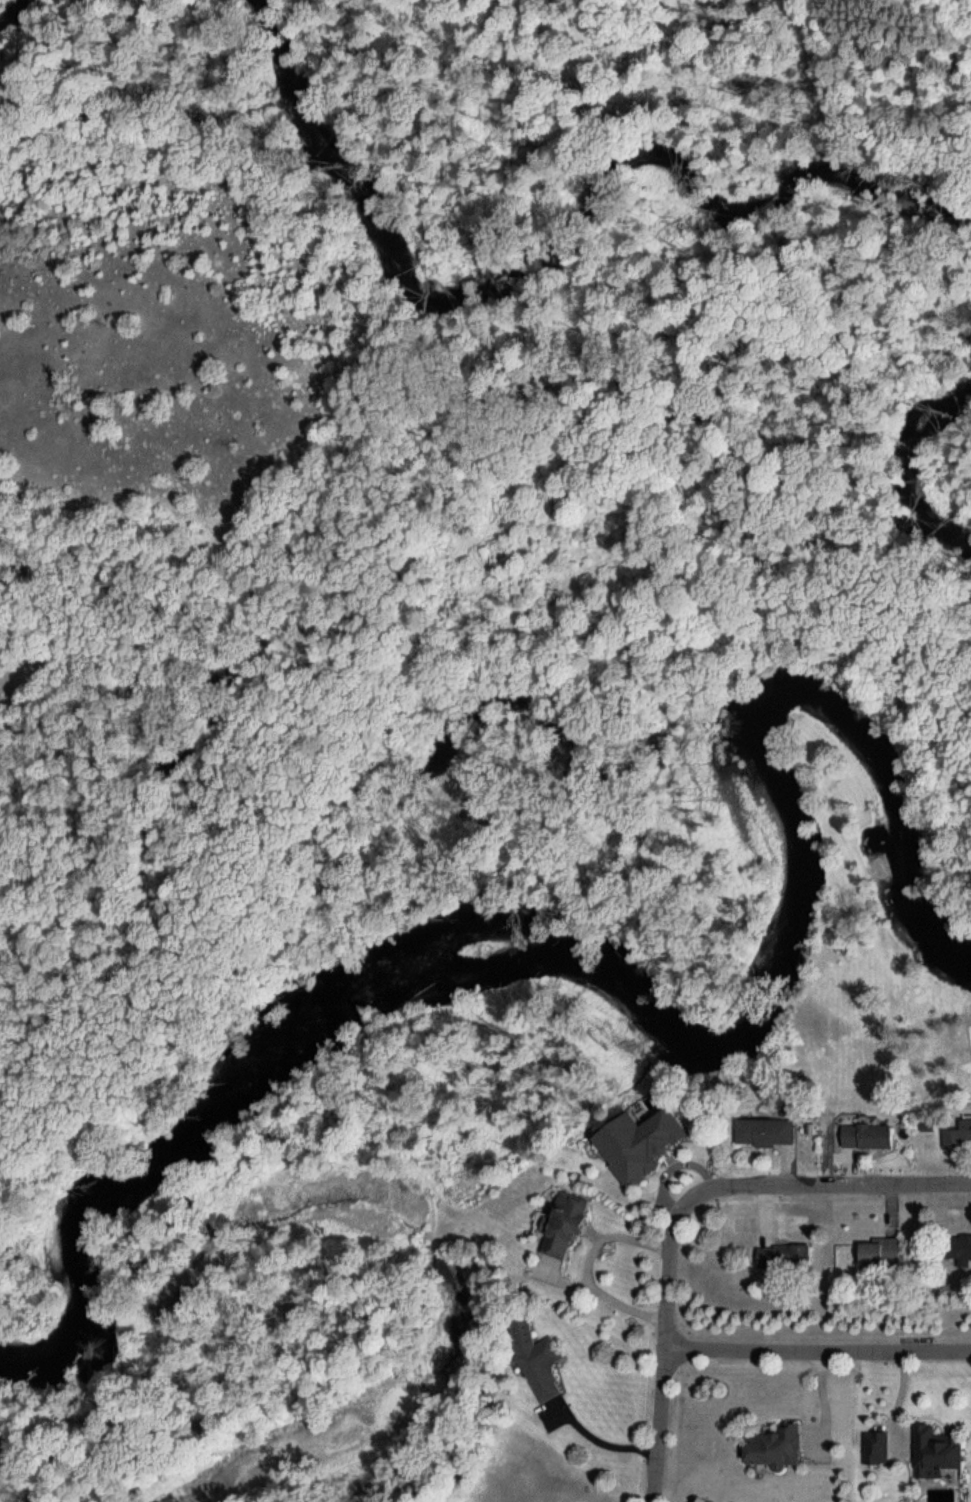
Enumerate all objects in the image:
park: (968, 1)
road: (644, 395)
park: (450, 722)
road: (422, 724)
river: (627, 1001)
building: (767, 1133)
building: (958, 1135)
building: (869, 1138)
building: (650, 1140)
road: (681, 1209)
building: (567, 1227)
building: (959, 1251)
building: (882, 1252)
building: (785, 1257)
road: (816, 1346)
building: (539, 1359)
road: (605, 1441)
building: (776, 1448)
building: (940, 1452)

